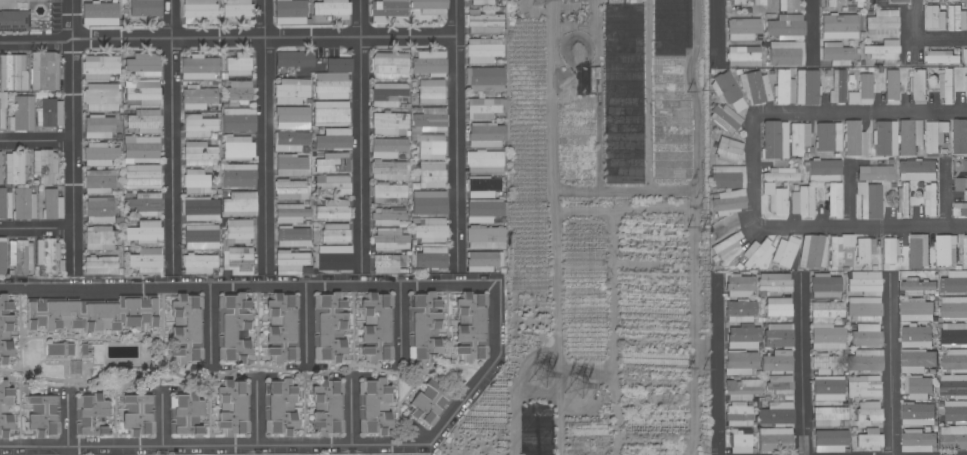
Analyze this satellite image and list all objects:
power tower: (580, 0)
building: (860, 0)
building: (880, 0)
building: (941, 0)
building: (955, 0)
building: (631, 1)
building: (899, 1)
building: (933, 1)
building: (482, 2)
building: (614, 2)
building: (738, 2)
building: (761, 2)
building: (829, 3)
building: (788, 5)
building: (429, 6)
building: (332, 8)
building: (143, 9)
building: (237, 10)
building: (389, 11)
building: (101, 12)
building: (199, 12)
building: (290, 12)
building: (957, 18)
building: (935, 19)
road: (916, 20)
building: (14, 21)
building: (483, 22)
building: (882, 22)
building: (838, 26)
building: (671, 27)
building: (786, 27)
building: (742, 29)
road: (812, 32)
road: (716, 33)
road: (228, 37)
road: (942, 39)
building: (483, 50)
building: (883, 50)
building: (786, 53)
building: (836, 53)
building: (743, 56)
building: (965, 56)
building: (942, 57)
building: (294, 59)
building: (429, 63)
building: (336, 64)
building: (143, 65)
building: (237, 65)
building: (389, 66)
building: (100, 67)
building: (199, 68)
building: (13, 73)
building: (484, 79)
building: (917, 84)
building: (330, 85)
building: (945, 85)
building: (966, 86)
building: (725, 87)
building: (754, 87)
building: (807, 87)
building: (838, 87)
building: (891, 87)
building: (46, 88)
building: (784, 88)
building: (239, 91)
building: (291, 91)
building: (862, 91)
building: (431, 92)
building: (141, 93)
building: (388, 94)
building: (623, 94)
building: (1, 95)
building: (487, 95)
building: (101, 97)
building: (197, 97)
building: (738, 105)
building: (404, 106)
building: (484, 108)
road: (863, 112)
building: (22, 113)
building: (330, 113)
building: (2, 118)
building: (291, 118)
building: (725, 118)
building: (238, 120)
building: (430, 120)
building: (144, 121)
building: (389, 123)
building: (198, 126)
building: (98, 127)
road: (264, 134)
road: (360, 134)
road: (456, 134)
road: (73, 135)
road: (172, 135)
building: (485, 135)
building: (934, 135)
building: (959, 136)
building: (828, 137)
building: (910, 137)
building: (799, 138)
building: (854, 138)
building: (885, 138)
road: (36, 140)
building: (331, 140)
building: (774, 140)
building: (290, 141)
building: (114, 142)
building: (120, 143)
building: (429, 146)
building: (236, 147)
building: (387, 148)
building: (142, 149)
building: (728, 150)
building: (811, 150)
building: (943, 151)
building: (200, 153)
building: (99, 154)
building: (806, 155)
building: (484, 161)
building: (890, 162)
building: (333, 163)
building: (44, 165)
building: (965, 165)
building: (0, 166)
building: (292, 166)
building: (15, 167)
building: (387, 170)
building: (823, 170)
building: (916, 170)
road: (753, 172)
building: (875, 173)
building: (430, 174)
building: (781, 174)
building: (238, 175)
building: (142, 177)
building: (727, 177)
building: (98, 181)
building: (35, 182)
building: (196, 182)
building: (28, 183)
building: (960, 184)
building: (332, 185)
building: (482, 186)
building: (795, 187)
building: (39, 188)
road: (624, 188)
building: (291, 190)
building: (387, 192)
road: (945, 192)
building: (116, 193)
road: (850, 193)
building: (128, 195)
building: (775, 198)
building: (902, 199)
building: (930, 199)
building: (870, 200)
building: (803, 201)
building: (835, 201)
building: (728, 202)
building: (5, 203)
building: (428, 203)
building: (23, 204)
building: (239, 204)
building: (52, 205)
building: (145, 205)
building: (99, 209)
building: (200, 209)
building: (960, 209)
building: (333, 210)
building: (484, 211)
building: (290, 213)
building: (388, 216)
building: (119, 220)
building: (415, 220)
building: (500, 223)
road: (864, 227)
road: (36, 229)
building: (432, 230)
building: (238, 231)
building: (145, 232)
building: (335, 234)
building: (200, 236)
building: (292, 237)
building: (484, 237)
building: (100, 238)
building: (389, 240)
building: (727, 244)
building: (839, 248)
building: (864, 249)
building: (889, 250)
building: (945, 250)
building: (785, 251)
building: (812, 252)
building: (918, 252)
building: (965, 252)
building: (757, 253)
building: (46, 254)
building: (2, 256)
building: (20, 256)
building: (239, 257)
building: (431, 258)
building: (334, 259)
building: (715, 259)
building: (146, 260)
building: (899, 260)
building: (292, 261)
building: (482, 261)
building: (388, 262)
building: (199, 263)
building: (61, 265)
building: (100, 265)
building: (739, 267)
building: (874, 267)
building: (885, 267)
building: (220, 269)
building: (120, 271)
building: (234, 271)
building: (10, 272)
building: (226, 272)
building: (217, 273)
building: (954, 282)
building: (865, 283)
building: (773, 284)
road: (249, 285)
building: (739, 285)
building: (825, 286)
building: (916, 287)
building: (778, 307)
building: (864, 309)
building: (953, 309)
building: (916, 310)
building: (740, 311)
building: (826, 312)
building: (91, 313)
road: (400, 322)
road: (304, 324)
road: (209, 325)
building: (329, 327)
building: (377, 327)
building: (423, 327)
building: (471, 327)
building: (187, 328)
building: (233, 328)
building: (282, 328)
building: (5, 329)
building: (262, 333)
building: (866, 335)
building: (953, 335)
building: (778, 336)
building: (916, 336)
building: (744, 337)
building: (829, 338)
building: (60, 349)
building: (83, 350)
building: (865, 361)
building: (916, 361)
building: (954, 361)
building: (740, 362)
building: (778, 362)
road: (801, 363)
building: (824, 363)
road: (716, 364)
road: (890, 364)
building: (932, 372)
power tower: (540, 375)
building: (780, 384)
building: (953, 386)
building: (863, 387)
building: (917, 387)
power tower: (575, 388)
building: (743, 388)
building: (828, 388)
building: (429, 403)
building: (845, 403)
building: (854, 403)
building: (328, 407)
building: (374, 407)
building: (233, 408)
road: (256, 408)
building: (280, 408)
road: (352, 408)
building: (5, 409)
building: (869, 412)
building: (956, 412)
building: (916, 413)
building: (185, 414)
building: (776, 414)
building: (44, 415)
building: (91, 415)
building: (138, 415)
road: (162, 415)
building: (739, 415)
building: (829, 416)
road: (68, 417)
building: (844, 423)
building: (934, 423)
building: (847, 428)
building: (857, 429)
building: (953, 438)
building: (869, 439)
road: (303, 440)
building: (740, 440)
building: (774, 440)
building: (832, 441)
building: (918, 441)
road: (68, 449)

